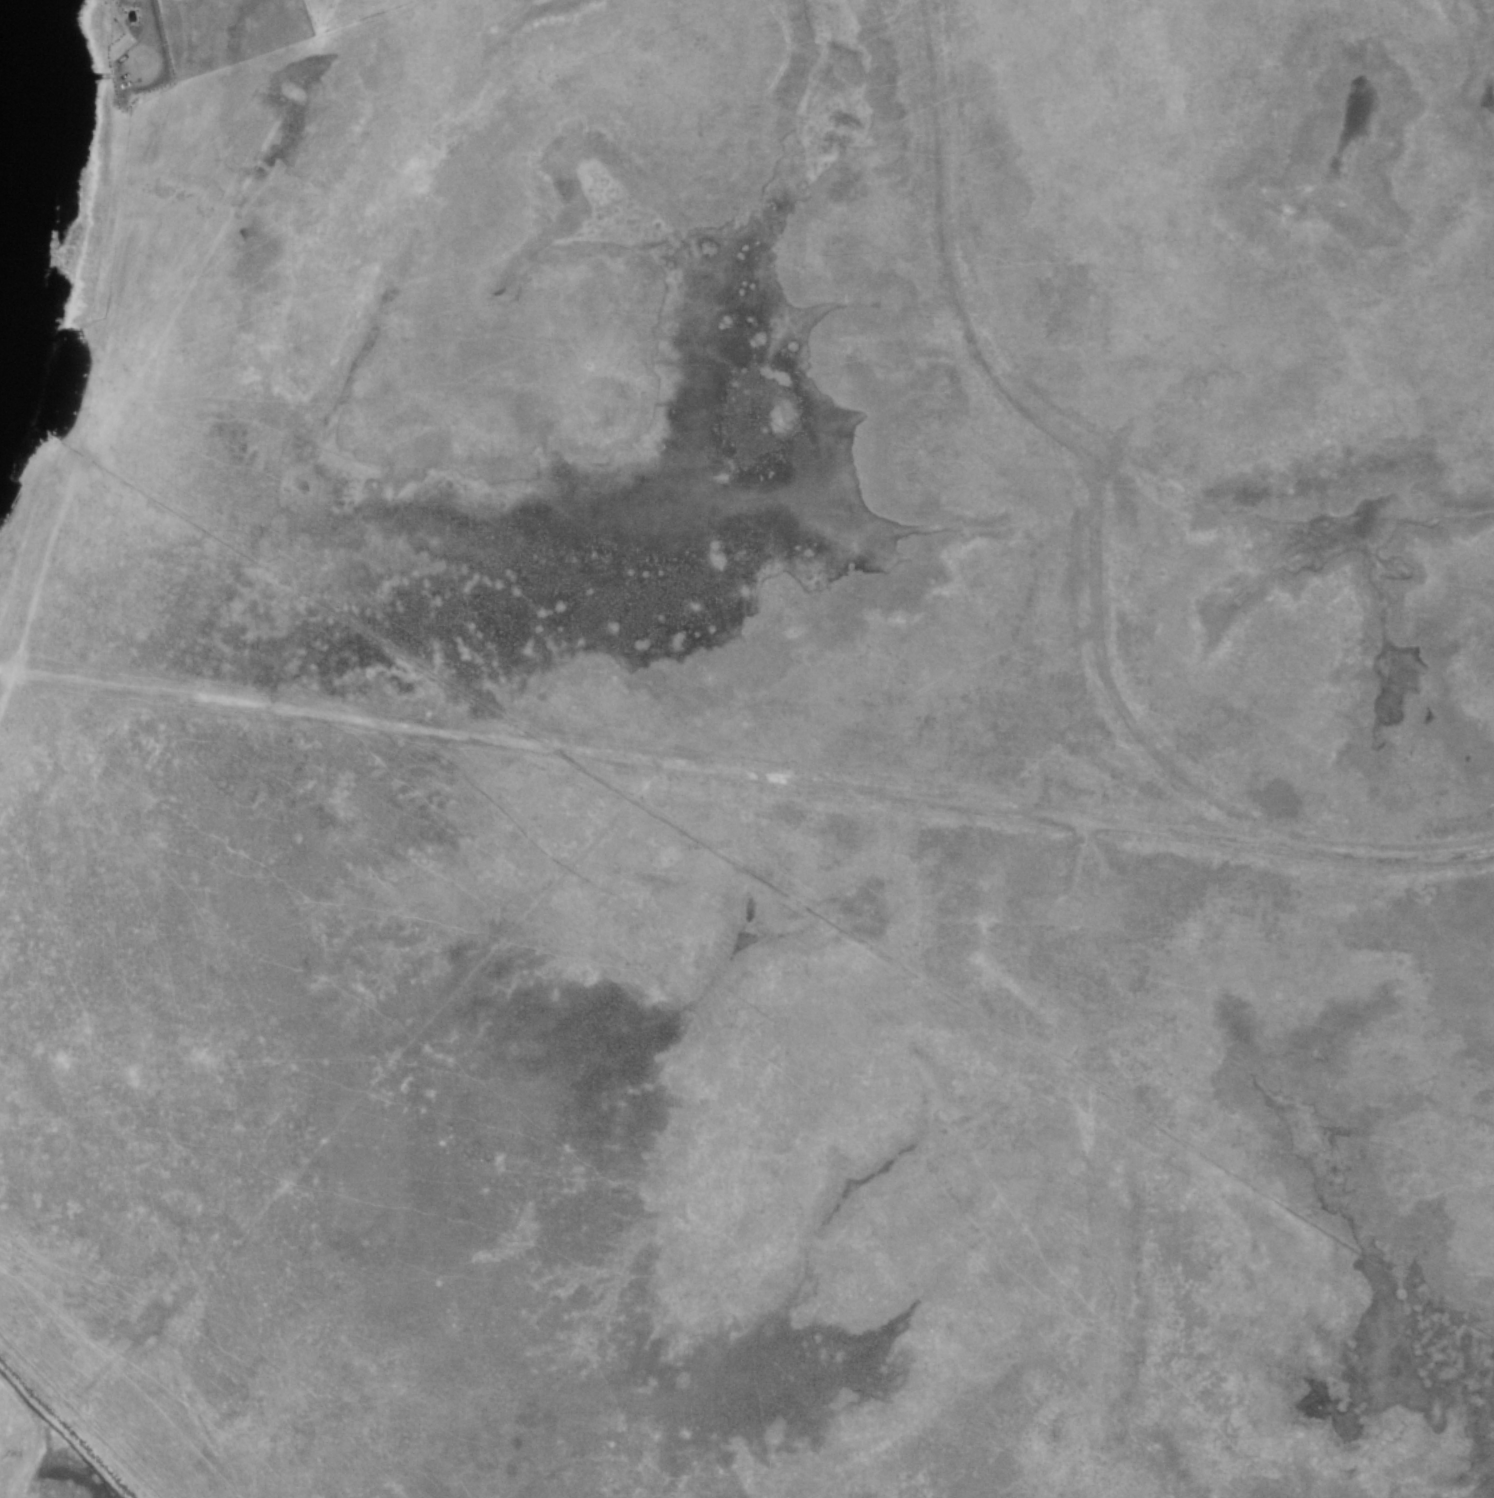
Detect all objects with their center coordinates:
road: (107, 340)

